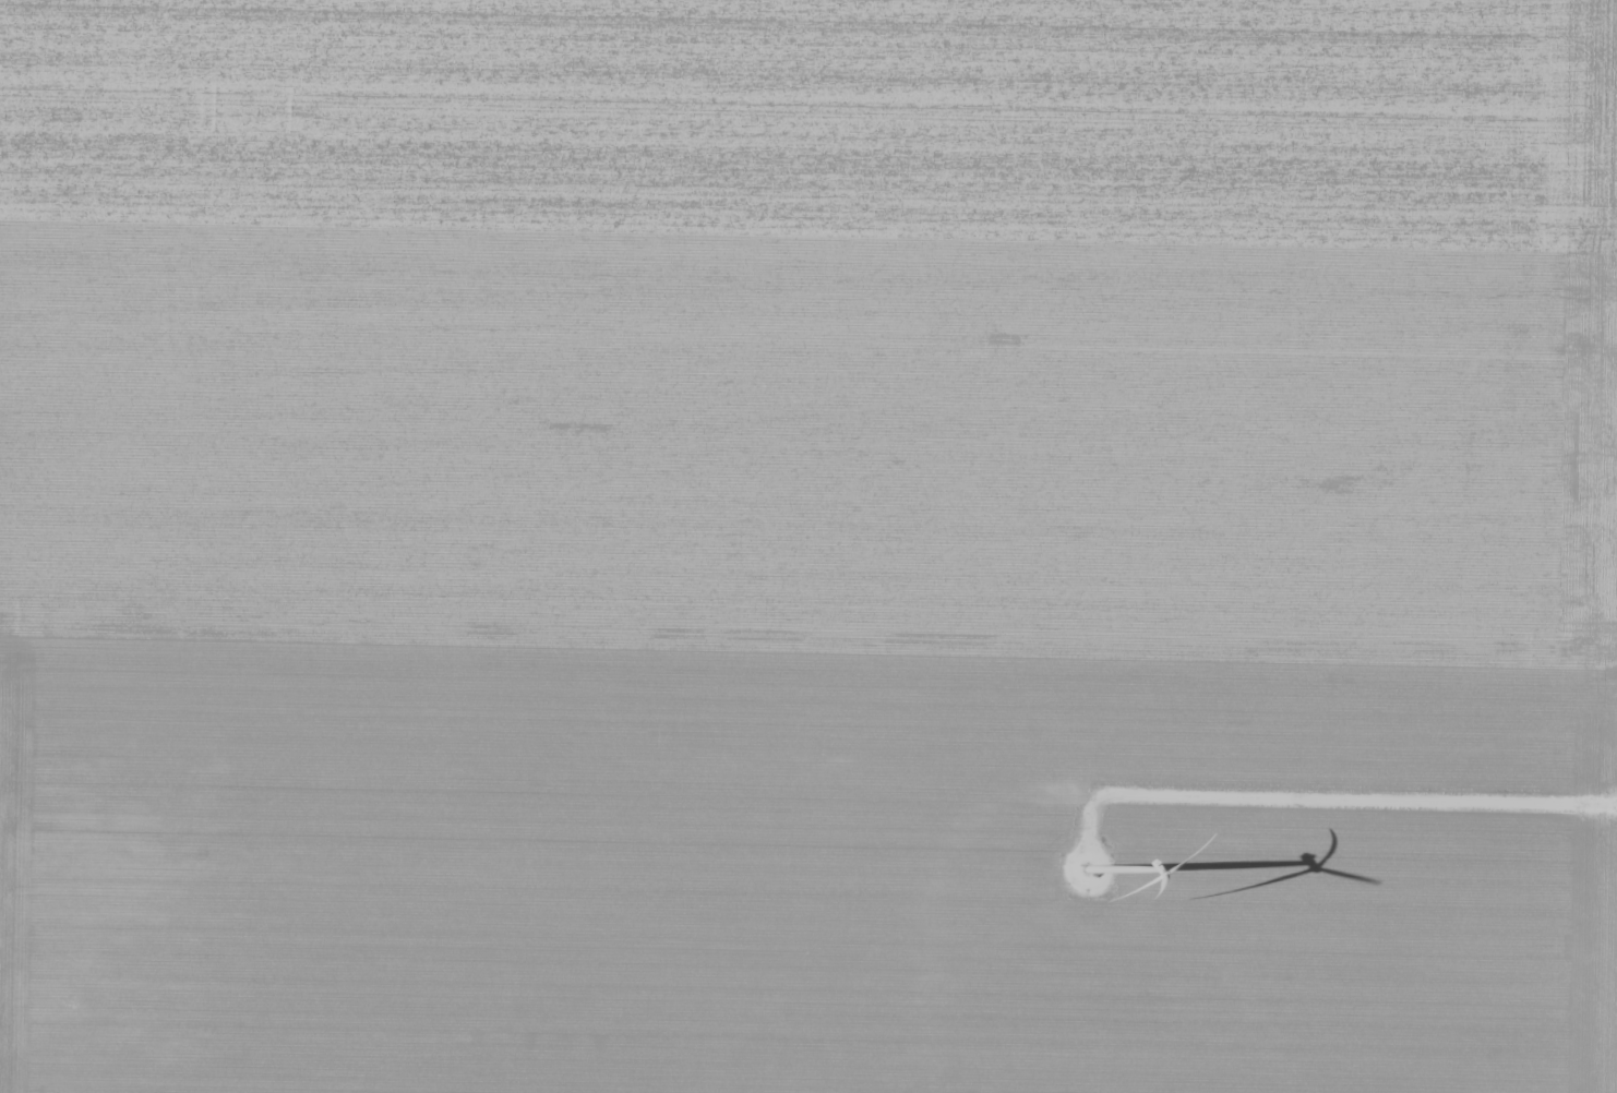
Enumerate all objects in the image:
wind turbine: (1069, 886)

